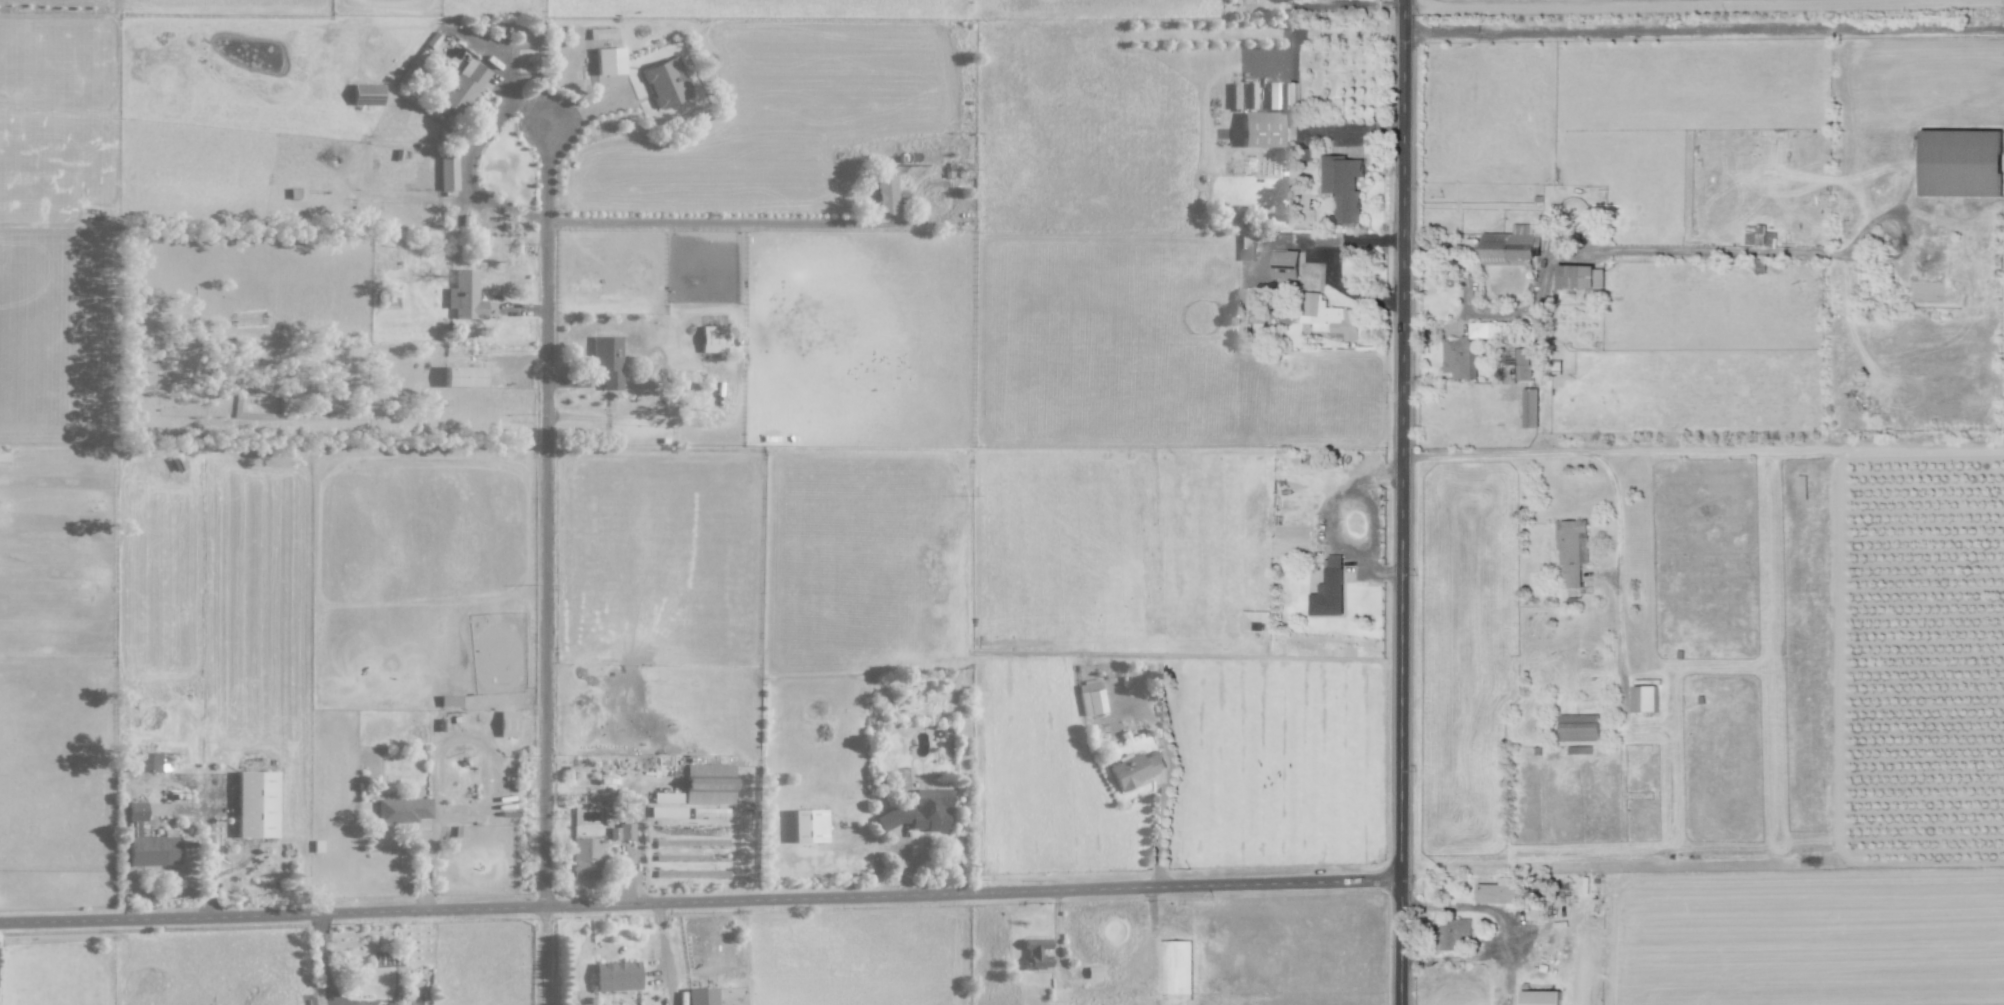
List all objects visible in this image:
road: (1347, 5)
road: (1677, 5)
road: (1705, 29)
building: (609, 60)
building: (667, 82)
building: (461, 88)
building: (366, 94)
building: (1282, 95)
road: (590, 107)
road: (533, 110)
building: (1260, 129)
road: (1357, 131)
road: (484, 135)
building: (1961, 163)
building: (447, 173)
road: (946, 185)
building: (1342, 186)
building: (885, 193)
road: (926, 222)
road: (736, 223)
building: (1758, 236)
building: (1247, 247)
building: (1510, 247)
road: (1755, 253)
building: (1285, 264)
road: (1329, 270)
building: (1576, 275)
building: (465, 295)
road: (521, 309)
road: (1503, 314)
building: (1329, 316)
building: (712, 338)
building: (1464, 352)
building: (607, 361)
building: (1518, 364)
building: (463, 376)
road: (565, 381)
building: (1530, 408)
road: (1544, 439)
road: (1804, 449)
road: (1617, 488)
road: (1405, 502)
road: (1328, 521)
road: (1377, 521)
building: (1572, 551)
road: (548, 564)
building: (1328, 594)
building: (1252, 620)
building: (1090, 697)
building: (1645, 698)
building: (449, 700)
building: (507, 723)
building: (1578, 727)
building: (145, 761)
building: (1136, 769)
road: (1171, 773)
road: (184, 779)
road: (441, 779)
building: (709, 783)
building: (667, 797)
building: (256, 804)
building: (402, 809)
building: (667, 811)
building: (919, 811)
building: (709, 812)
road: (477, 815)
building: (807, 825)
building: (621, 832)
building: (154, 849)
building: (584, 857)
road: (240, 864)
road: (906, 868)
road: (634, 879)
building: (1501, 893)
road: (702, 901)
road: (1481, 907)
building: (1453, 932)
road: (1058, 939)
building: (1035, 953)
road: (665, 954)
road: (326, 959)
building: (1175, 967)
building: (1092, 972)
building: (616, 976)
building: (700, 996)
building: (1540, 997)

